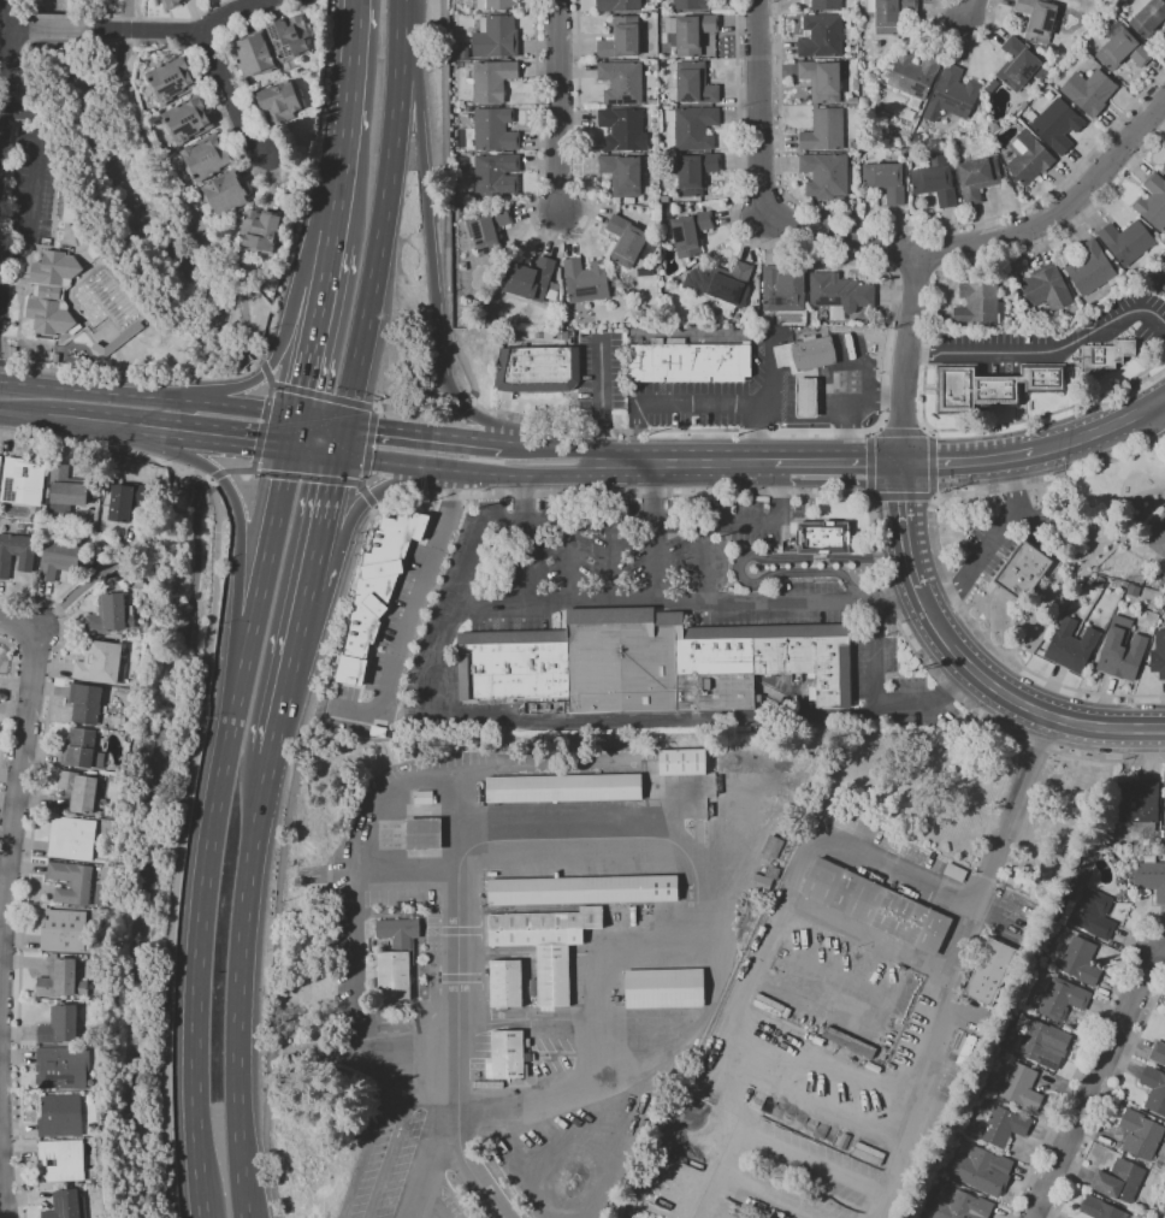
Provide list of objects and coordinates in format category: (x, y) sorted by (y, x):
building: (175, 4)
building: (495, 5)
building: (617, 5)
building: (692, 5)
building: (826, 5)
road: (128, 8)
road: (970, 8)
road: (229, 12)
building: (889, 14)
building: (1147, 16)
building: (1037, 18)
road: (17, 28)
road: (57, 28)
road: (125, 29)
road: (143, 30)
building: (691, 31)
building: (496, 36)
building: (821, 36)
building: (620, 39)
building: (296, 41)
road: (963, 45)
building: (1122, 48)
road: (5, 54)
building: (256, 55)
building: (856, 55)
building: (1018, 64)
building: (912, 73)
building: (490, 79)
building: (821, 79)
building: (173, 81)
building: (621, 82)
building: (694, 83)
building: (992, 84)
building: (1089, 90)
road: (236, 91)
building: (952, 95)
building: (652, 100)
building: (852, 100)
building: (283, 104)
road: (558, 105)
building: (1023, 106)
road: (347, 116)
building: (193, 122)
building: (1057, 124)
building: (694, 128)
building: (993, 128)
building: (493, 129)
building: (623, 129)
building: (823, 130)
building: (992, 150)
building: (1028, 156)
building: (214, 159)
building: (1164, 168)
building: (692, 172)
building: (622, 173)
building: (496, 175)
building: (824, 175)
building: (977, 177)
road: (36, 178)
building: (935, 179)
building: (886, 181)
parking lot: (34, 182)
building: (235, 195)
building: (664, 199)
building: (628, 200)
building: (1153, 201)
road: (177, 206)
road: (384, 212)
building: (667, 212)
park: (117, 221)
road: (904, 227)
building: (489, 229)
building: (690, 232)
building: (267, 233)
building: (1155, 235)
road: (558, 240)
building: (625, 241)
building: (1126, 241)
road: (881, 246)
road: (898, 249)
road: (934, 249)
road: (430, 254)
road: (326, 256)
building: (691, 262)
building: (1089, 268)
road: (915, 272)
building: (1147, 274)
building: (530, 279)
building: (585, 280)
building: (501, 283)
building: (720, 283)
building: (1163, 284)
building: (1046, 288)
building: (782, 290)
building: (839, 292)
building: (55, 295)
building: (978, 304)
building: (945, 321)
building: (510, 332)
road: (928, 338)
building: (572, 339)
building: (119, 342)
road: (279, 344)
road: (308, 347)
road: (1057, 349)
building: (812, 353)
road: (916, 353)
building: (1105, 355)
road: (905, 356)
road: (5, 360)
building: (687, 361)
road: (265, 368)
road: (770, 368)
building: (536, 369)
road: (243, 371)
road: (105, 377)
road: (213, 377)
road: (850, 378)
building: (1022, 378)
building: (1043, 378)
road: (273, 383)
road: (270, 385)
building: (974, 390)
road: (324, 396)
road: (379, 396)
road: (211, 397)
building: (806, 397)
gas station: (806, 397)
road: (769, 400)
road: (26, 401)
road: (601, 401)
road: (209, 402)
road: (1163, 404)
road: (377, 406)
road: (256, 408)
road: (462, 408)
road: (183, 409)
road: (110, 410)
traffic signals: (295, 414)
road: (319, 418)
traffic signals: (344, 421)
road: (175, 426)
road: (924, 426)
road: (877, 427)
road: (260, 428)
road: (1101, 428)
road: (424, 431)
road: (635, 431)
road: (745, 431)
road: (759, 431)
road: (847, 431)
road: (900, 431)
road: (291, 432)
road: (932, 432)
road: (865, 434)
road: (190, 436)
road: (203, 438)
road: (341, 438)
road: (368, 441)
road: (189, 444)
road: (250, 444)
road: (1164, 444)
road: (554, 445)
road: (96, 447)
traffic signals: (289, 450)
road: (313, 453)
road: (1022, 454)
traffic signals: (337, 456)
building: (0, 459)
road: (201, 459)
road: (956, 461)
road: (619, 463)
road: (672, 463)
road: (734, 463)
road: (770, 463)
road: (841, 463)
traffic signals: (903, 463)
road: (253, 466)
road: (932, 466)
road: (869, 467)
road: (237, 471)
road: (255, 471)
road: (199, 472)
road: (469, 472)
road: (217, 474)
road: (307, 475)
road: (362, 478)
road: (208, 479)
building: (22, 481)
road: (361, 483)
building: (65, 489)
road: (375, 490)
building: (95, 492)
road: (329, 492)
road: (365, 492)
road: (483, 493)
road: (900, 497)
road: (934, 498)
road: (369, 499)
building: (126, 501)
road: (374, 505)
building: (105, 530)
road: (654, 530)
road: (901, 531)
park: (1090, 531)
building: (823, 537)
road: (525, 539)
road: (990, 543)
building: (1154, 544)
building: (14, 551)
road: (238, 551)
road: (938, 551)
building: (1052, 554)
road: (744, 557)
road: (315, 558)
road: (611, 558)
building: (61, 560)
road: (569, 560)
road: (705, 562)
road: (1083, 562)
building: (1022, 570)
building: (1142, 572)
building: (117, 575)
road: (85, 583)
building: (140, 583)
building: (1099, 583)
building: (1133, 590)
building: (375, 591)
road: (419, 591)
road: (686, 599)
building: (111, 613)
building: (1070, 645)
building: (1120, 650)
building: (1158, 655)
building: (650, 662)
building: (101, 663)
road: (433, 664)
road: (290, 672)
road: (8, 699)
road: (1019, 702)
building: (84, 703)
road: (879, 704)
building: (81, 749)
building: (681, 761)
road: (19, 781)
building: (563, 787)
building: (78, 791)
building: (424, 797)
building: (1136, 808)
building: (1164, 808)
building: (110, 815)
road: (209, 830)
building: (422, 834)
building: (71, 839)
road: (181, 847)
building: (773, 849)
road: (408, 871)
road: (800, 871)
building: (491, 874)
building: (1151, 876)
road: (28, 879)
building: (764, 879)
building: (71, 881)
building: (582, 889)
road: (457, 899)
building: (876, 905)
building: (1088, 912)
road: (698, 927)
building: (64, 930)
building: (373, 942)
building: (546, 946)
road: (698, 948)
road: (958, 953)
building: (395, 959)
building: (1081, 962)
building: (989, 971)
building: (61, 980)
road: (357, 983)
building: (505, 983)
road: (237, 986)
building: (663, 988)
building: (1061, 999)
building: (786, 1003)
road: (555, 1018)
building: (61, 1025)
building: (814, 1027)
building: (848, 1041)
building: (1041, 1042)
building: (1158, 1053)
building: (507, 1054)
road: (1081, 1059)
building: (61, 1069)
road: (1094, 1078)
building: (486, 1084)
building: (1022, 1088)
building: (1154, 1088)
road: (1108, 1100)
building: (59, 1116)
road: (471, 1116)
building: (1003, 1125)
road: (371, 1130)
building: (1140, 1134)
road: (395, 1136)
road: (774, 1145)
building: (61, 1159)
road: (2, 1163)
building: (981, 1170)
building: (1118, 1179)
building: (64, 1205)
building: (963, 1206)
road: (882, 1207)
building: (1100, 1208)
building: (1164, 1217)

